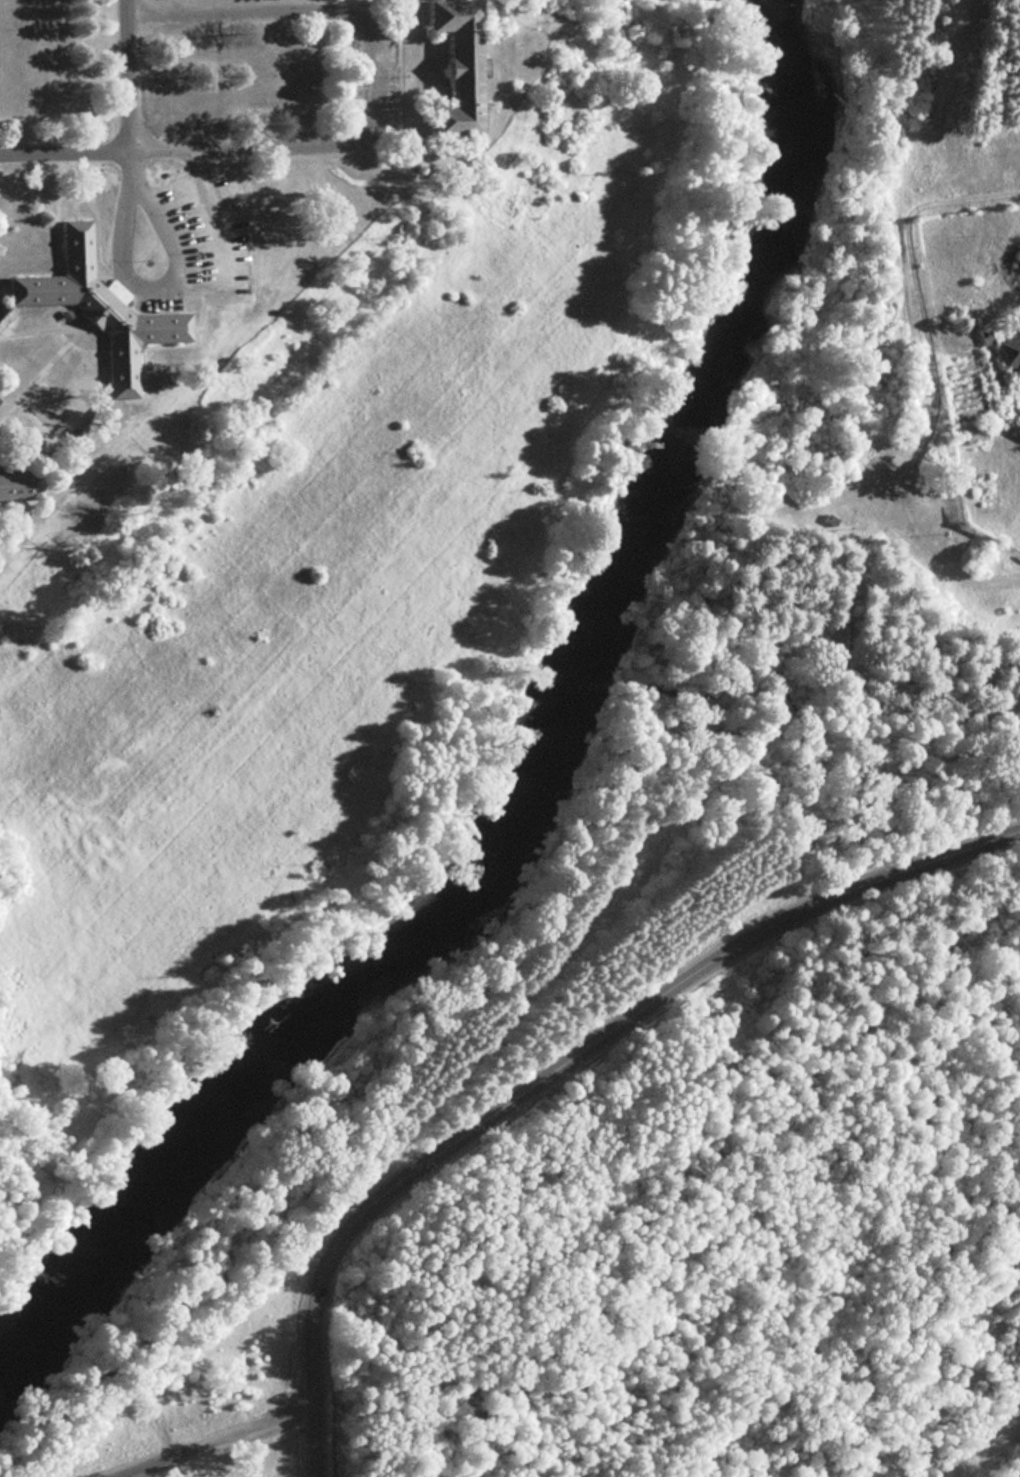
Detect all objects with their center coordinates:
road: (329, 7)
building: (450, 68)
road: (126, 73)
road: (165, 147)
road: (125, 208)
road: (171, 250)
building: (96, 306)
building: (1008, 352)
building: (1016, 427)
building: (970, 432)
building: (16, 485)
river: (549, 764)
road: (559, 1074)
park: (721, 1224)
road: (220, 1439)

